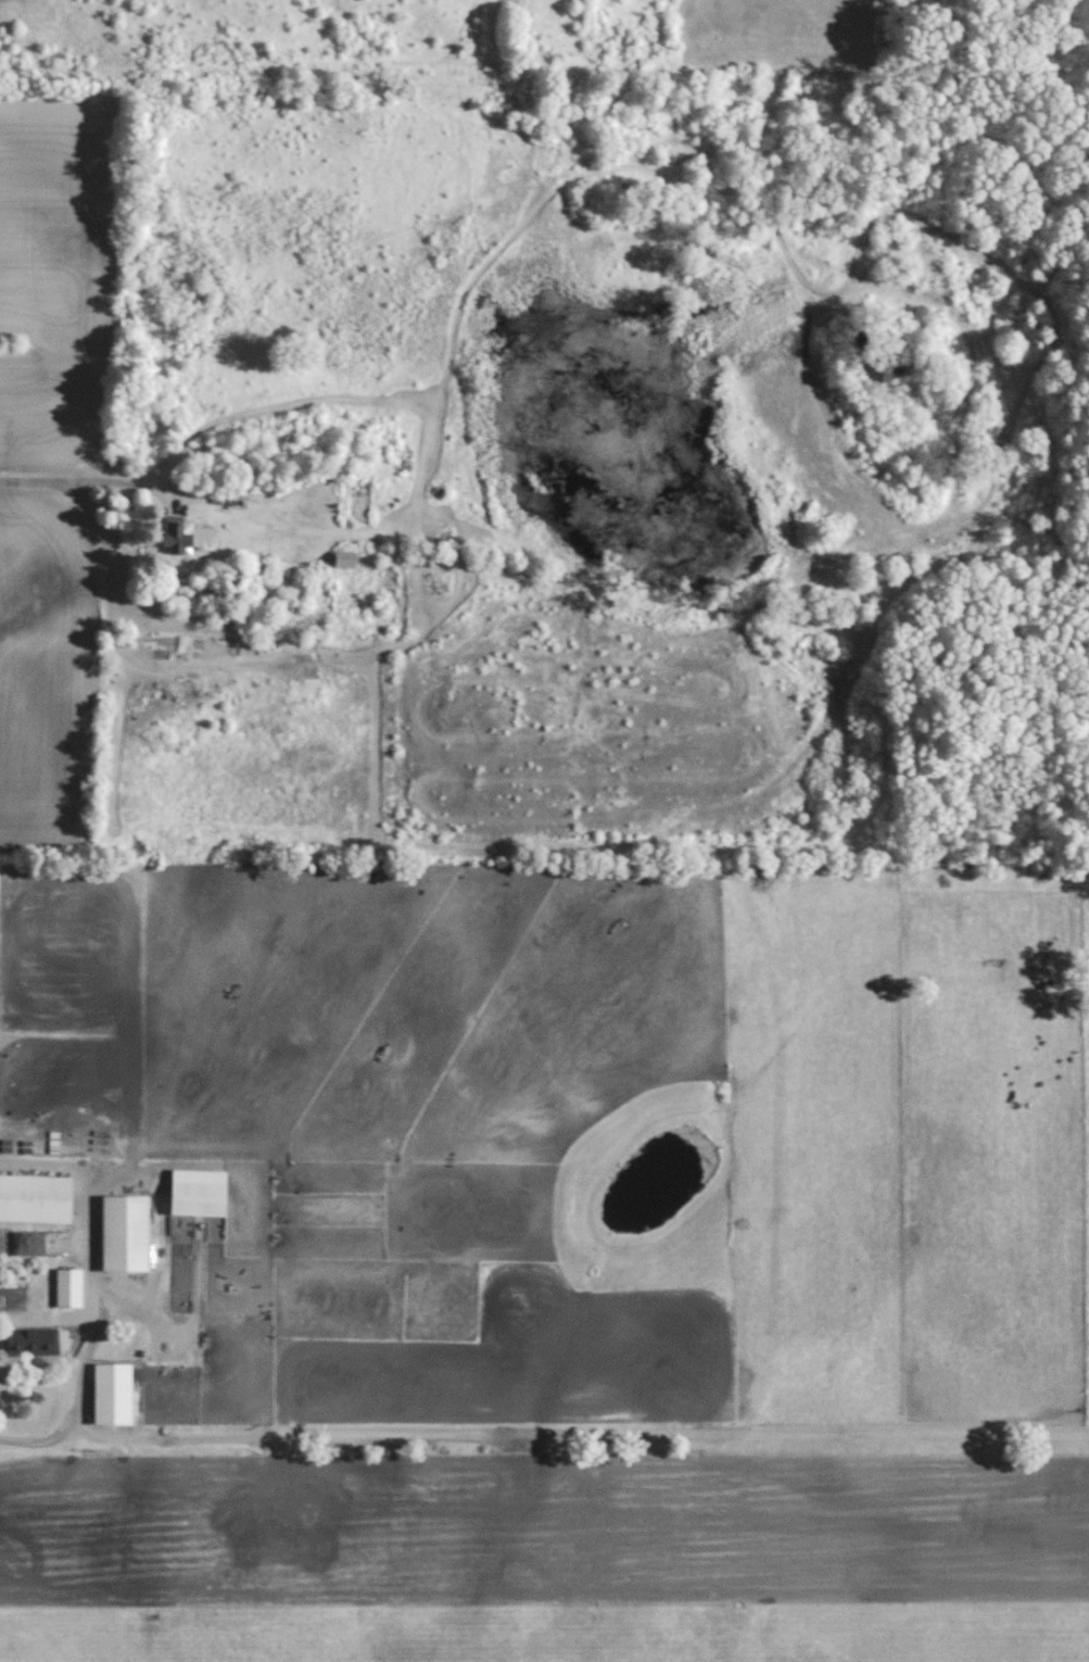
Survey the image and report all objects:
road: (390, 401)
road: (81, 486)
building: (353, 501)
building: (181, 537)
building: (344, 558)
building: (35, 1199)
building: (197, 1199)
building: (125, 1234)
building: (66, 1288)
building: (27, 1340)
building: (112, 1394)
road: (79, 1398)

